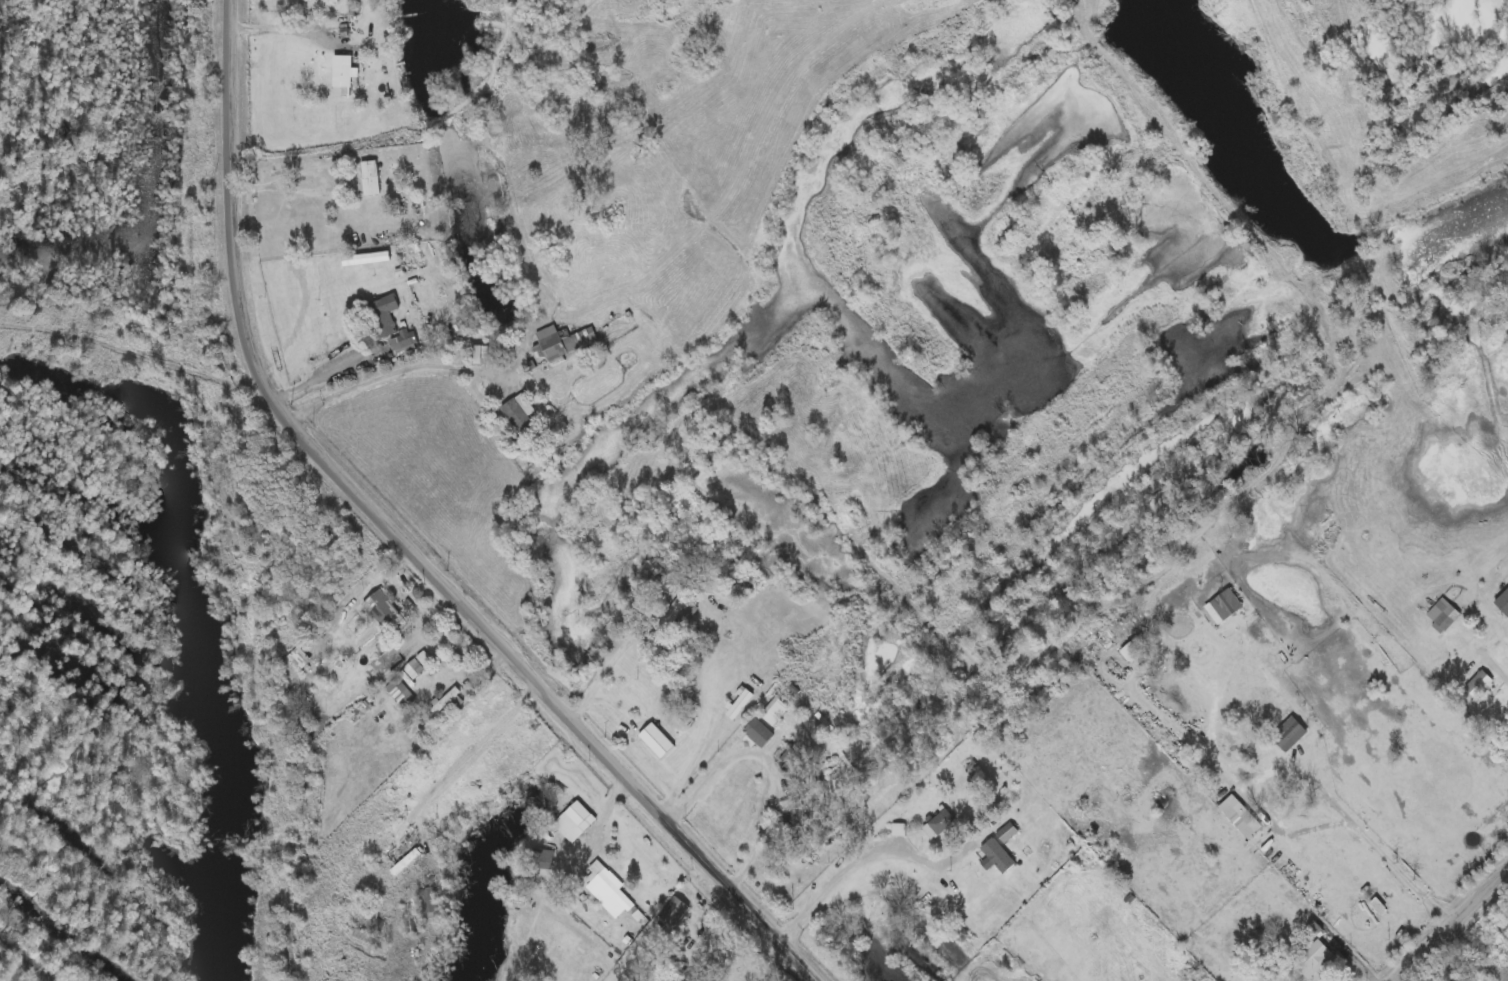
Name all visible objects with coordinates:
building: (335, 0)
road: (282, 30)
building: (372, 177)
road: (285, 181)
building: (382, 317)
building: (568, 337)
road: (329, 372)
road: (383, 374)
building: (523, 412)
road: (410, 542)
building: (1224, 604)
building: (682, 605)
building: (395, 612)
road: (418, 612)
building: (1444, 612)
road: (445, 616)
building: (307, 651)
road: (1489, 651)
building: (421, 661)
road: (610, 672)
road: (490, 673)
building: (1483, 678)
building: (402, 690)
building: (742, 701)
building: (775, 708)
building: (761, 730)
building: (1290, 731)
building: (659, 738)
road: (766, 749)
building: (796, 764)
road: (692, 765)
road: (452, 770)
road: (613, 812)
building: (795, 816)
building: (578, 819)
building: (944, 819)
road: (1381, 842)
building: (999, 853)
building: (544, 855)
road: (777, 864)
road: (842, 867)
building: (607, 877)
building: (430, 897)
building: (677, 908)
road: (1451, 926)
building: (1314, 951)
road: (774, 963)
road: (1358, 963)

